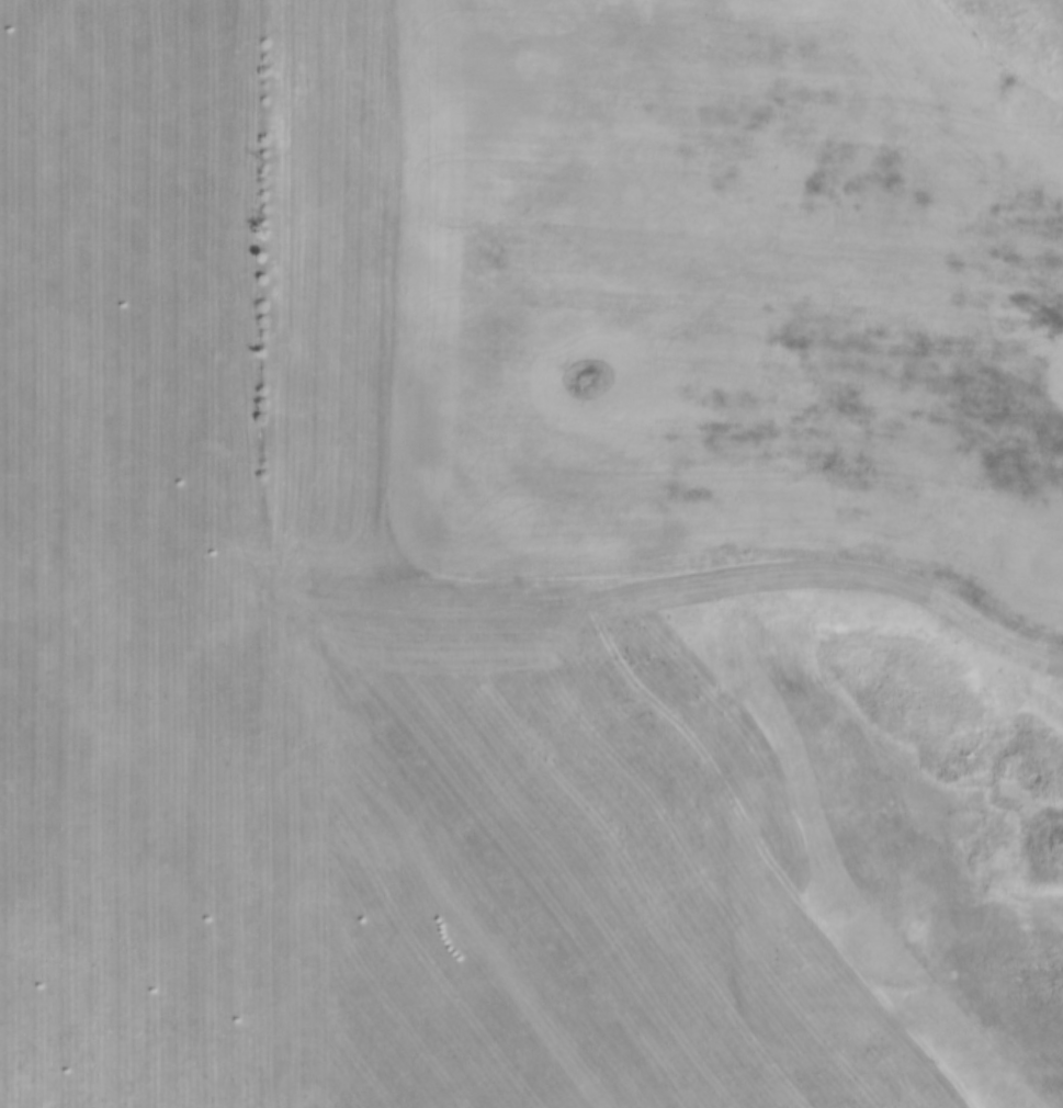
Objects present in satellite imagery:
crop: (1058, 4)
crop: (721, 291)

